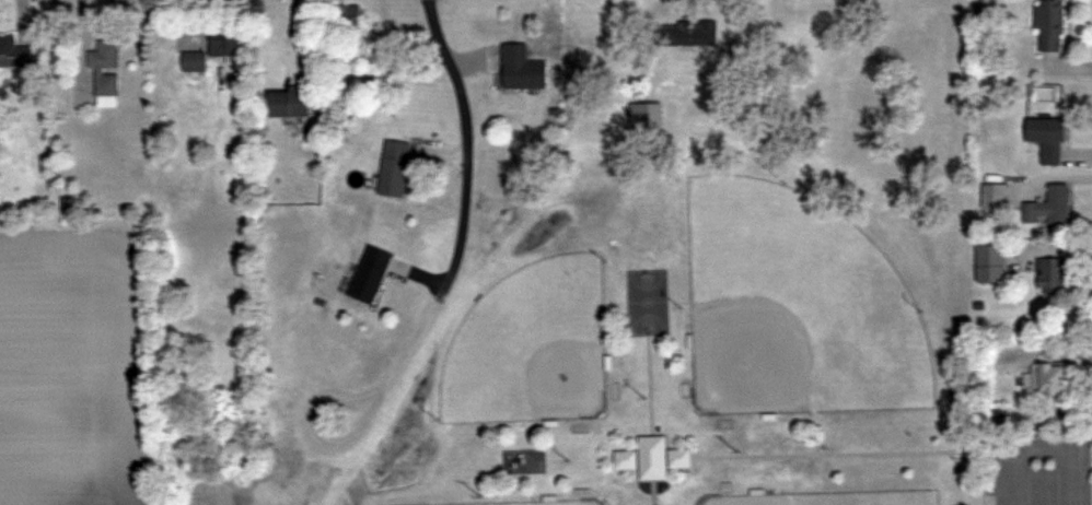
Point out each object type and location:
building: (349, 17)
building: (1049, 25)
building: (686, 33)
building: (223, 43)
building: (350, 49)
building: (13, 52)
building: (194, 60)
building: (521, 68)
building: (105, 71)
building: (289, 102)
building: (644, 118)
building: (1047, 138)
building: (394, 168)
building: (995, 196)
road: (460, 207)
building: (1048, 207)
building: (990, 263)
building: (369, 273)
building: (1050, 274)
park: (647, 296)
park: (798, 307)
park: (533, 345)
building: (1046, 378)
road: (311, 411)
building: (652, 457)
park: (826, 497)
park: (532, 502)

